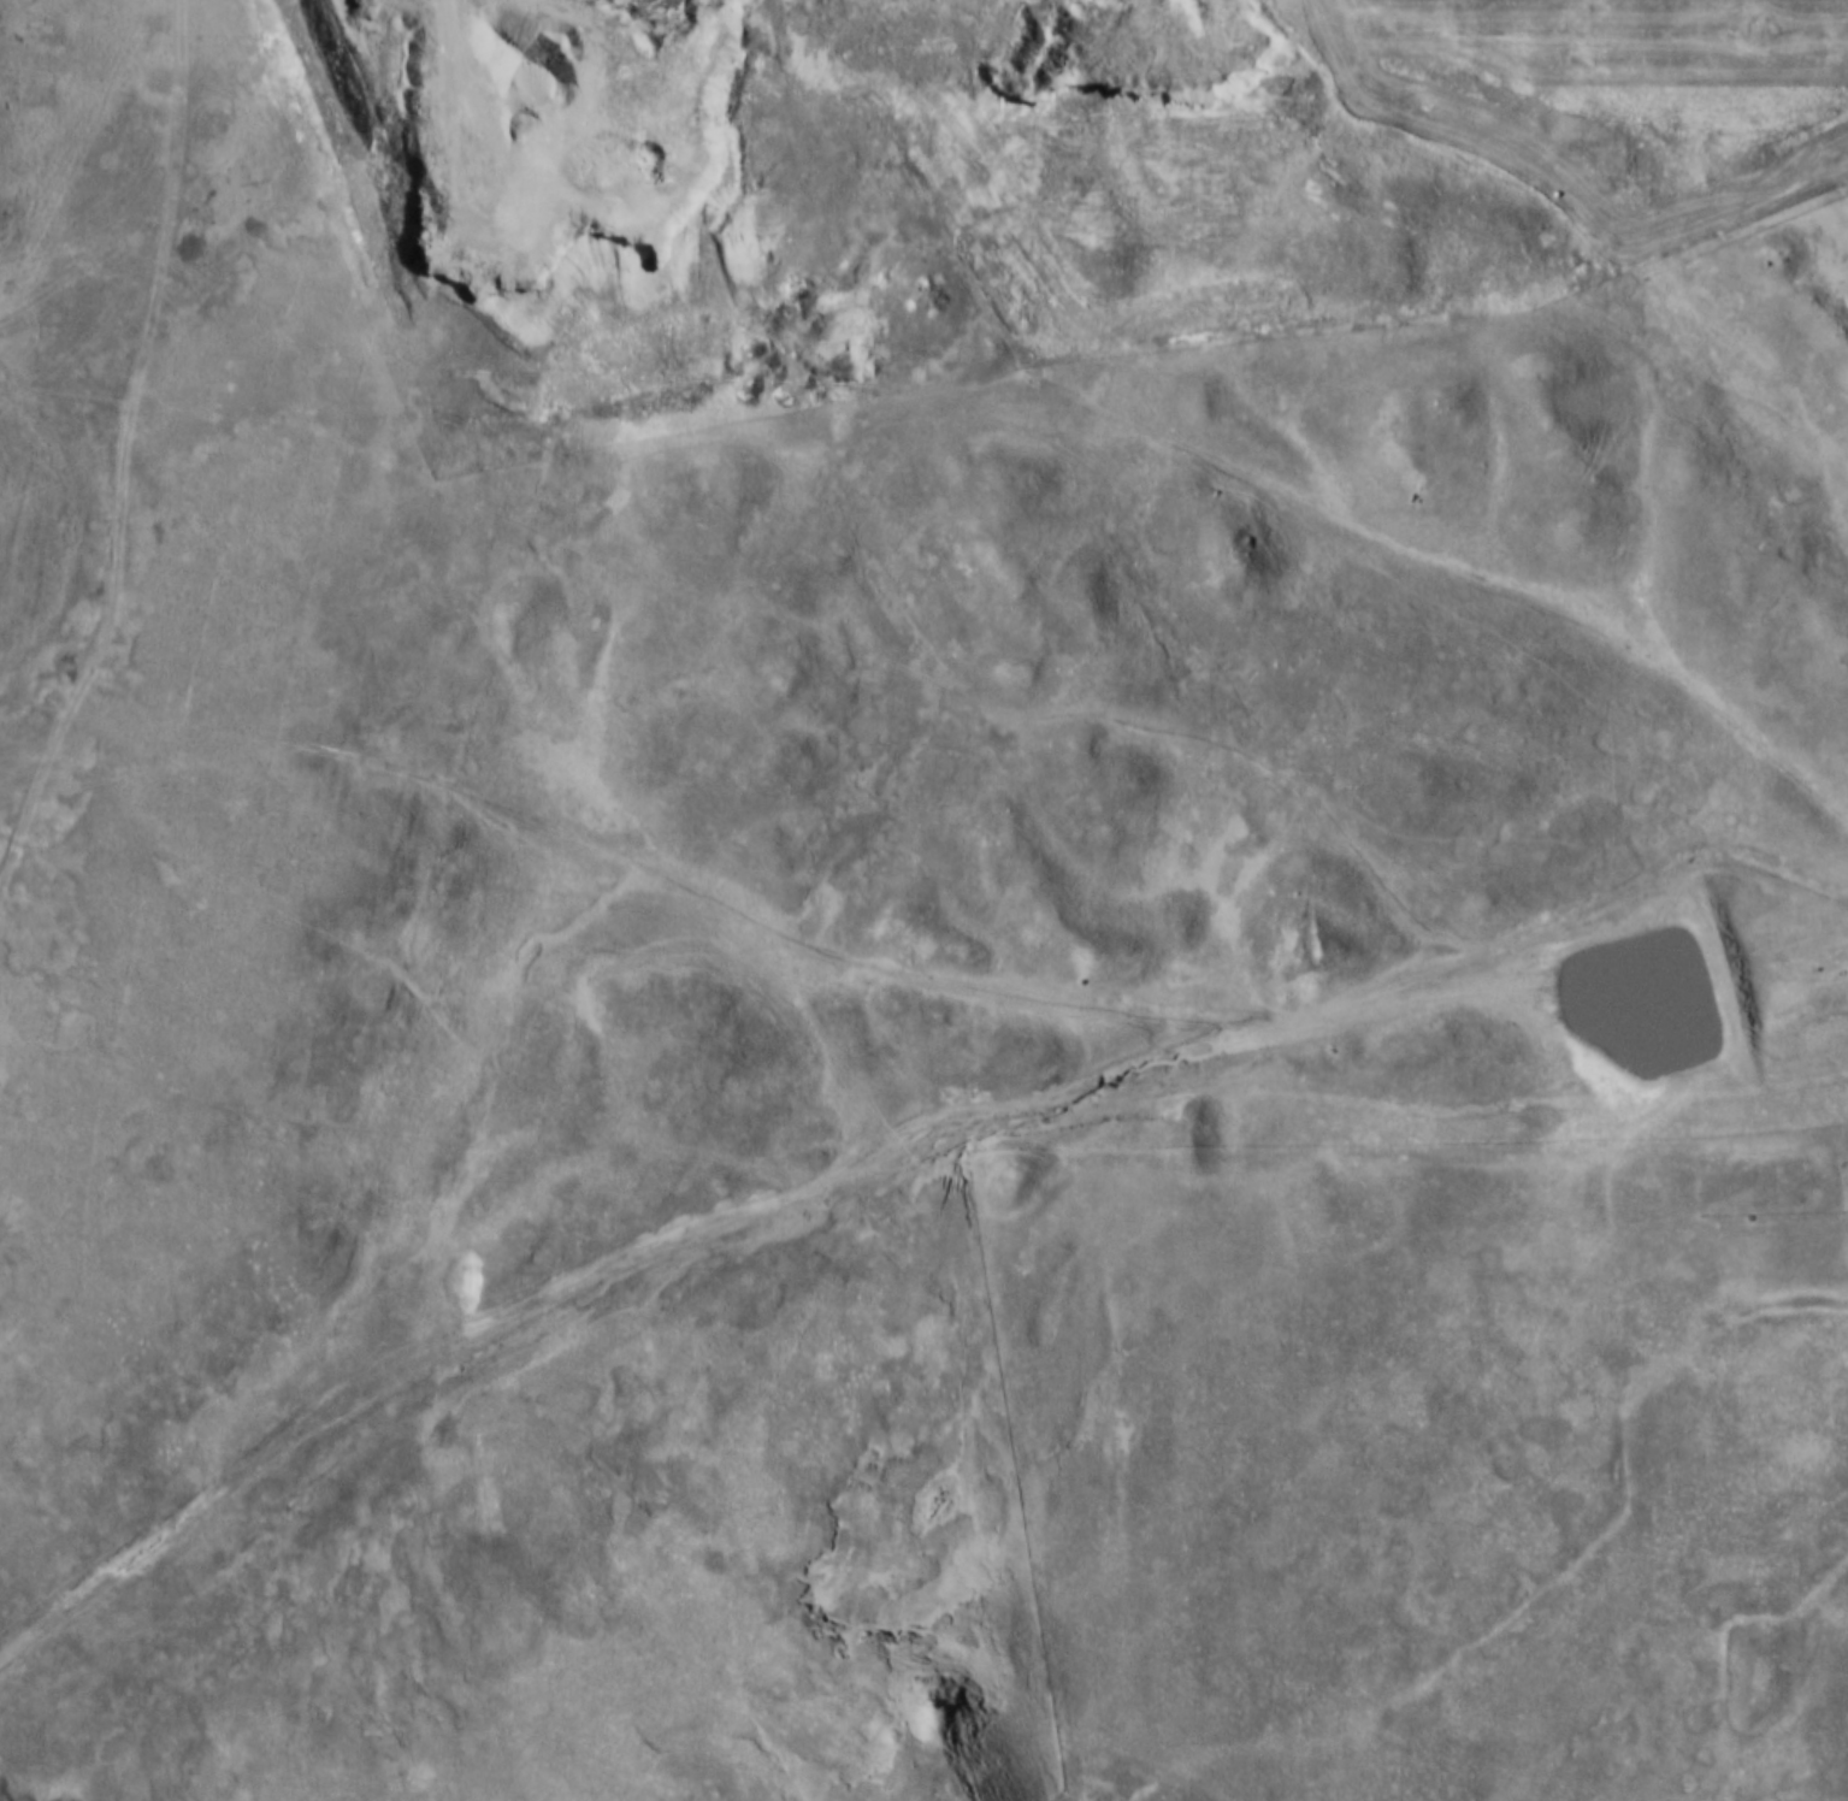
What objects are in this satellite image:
quarry: (1097, 59)
road: (884, 1155)

